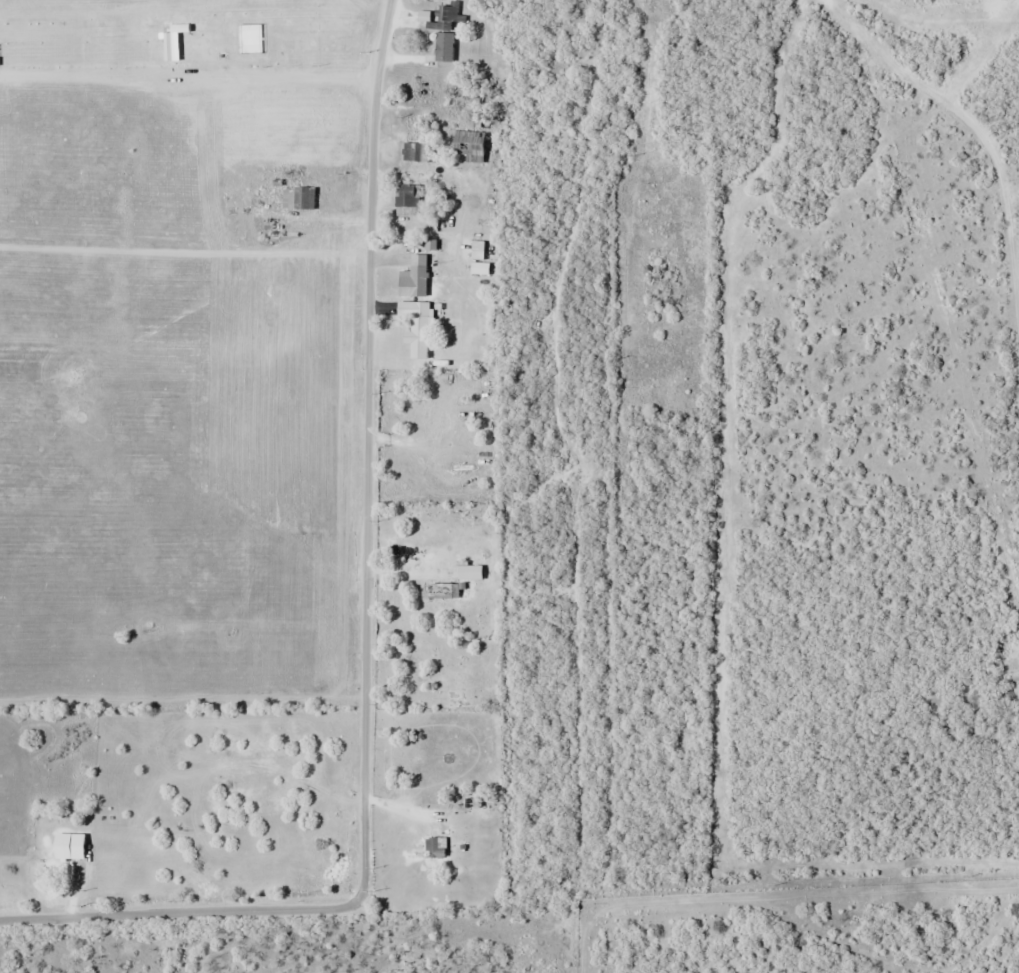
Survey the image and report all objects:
building: (441, 28)
building: (468, 145)
building: (411, 152)
building: (405, 195)
building: (300, 197)
building: (476, 259)
building: (417, 266)
building: (418, 329)
building: (467, 572)
building: (440, 591)
road: (368, 629)
building: (72, 846)

